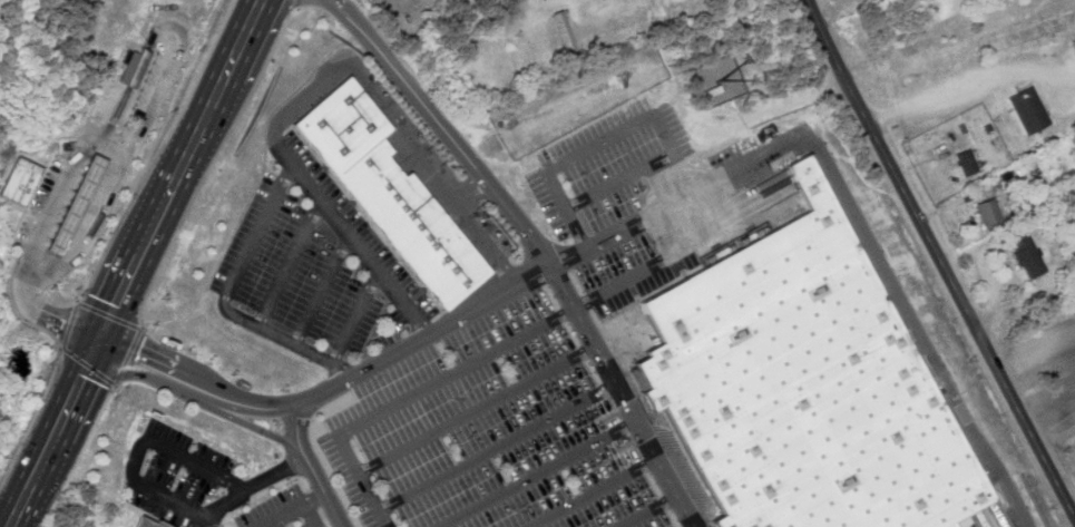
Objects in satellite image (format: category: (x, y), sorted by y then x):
road: (548, 1)
building: (564, 32)
building: (133, 67)
building: (1028, 109)
building: (966, 162)
building: (18, 182)
building: (389, 194)
building: (74, 206)
building: (988, 212)
road: (653, 216)
road: (540, 244)
building: (1026, 253)
road: (939, 260)
road: (135, 263)
traffic signals: (98, 339)
building: (804, 383)
road: (314, 469)

